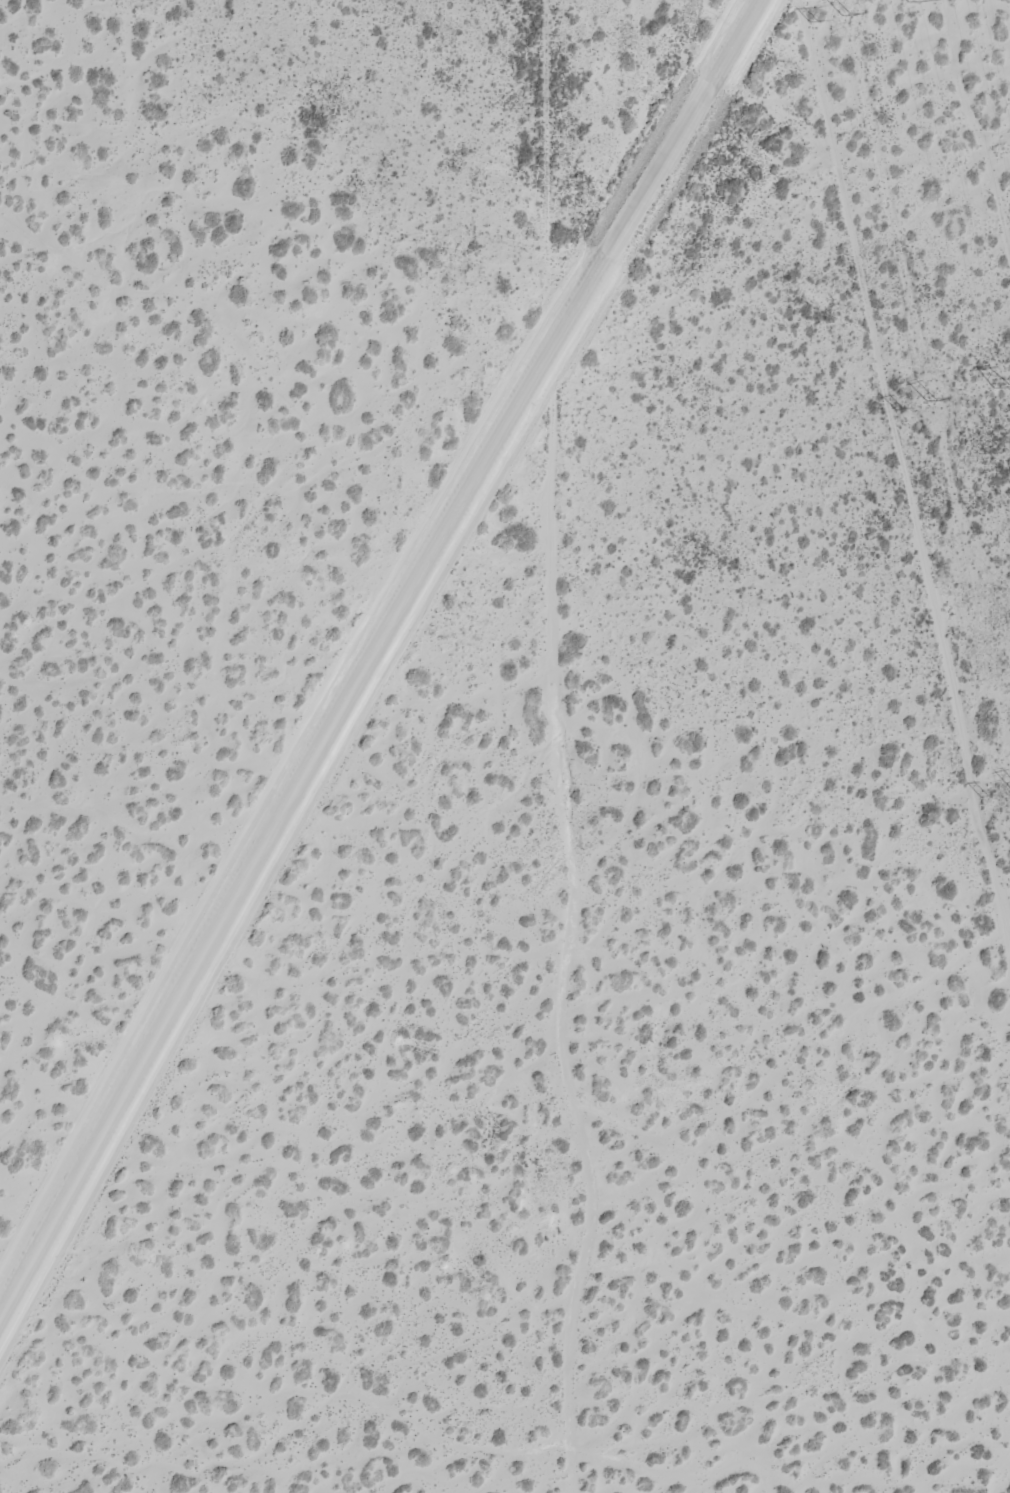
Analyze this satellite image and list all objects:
power tower: (914, 0)
power tower: (999, 384)
road: (375, 653)

